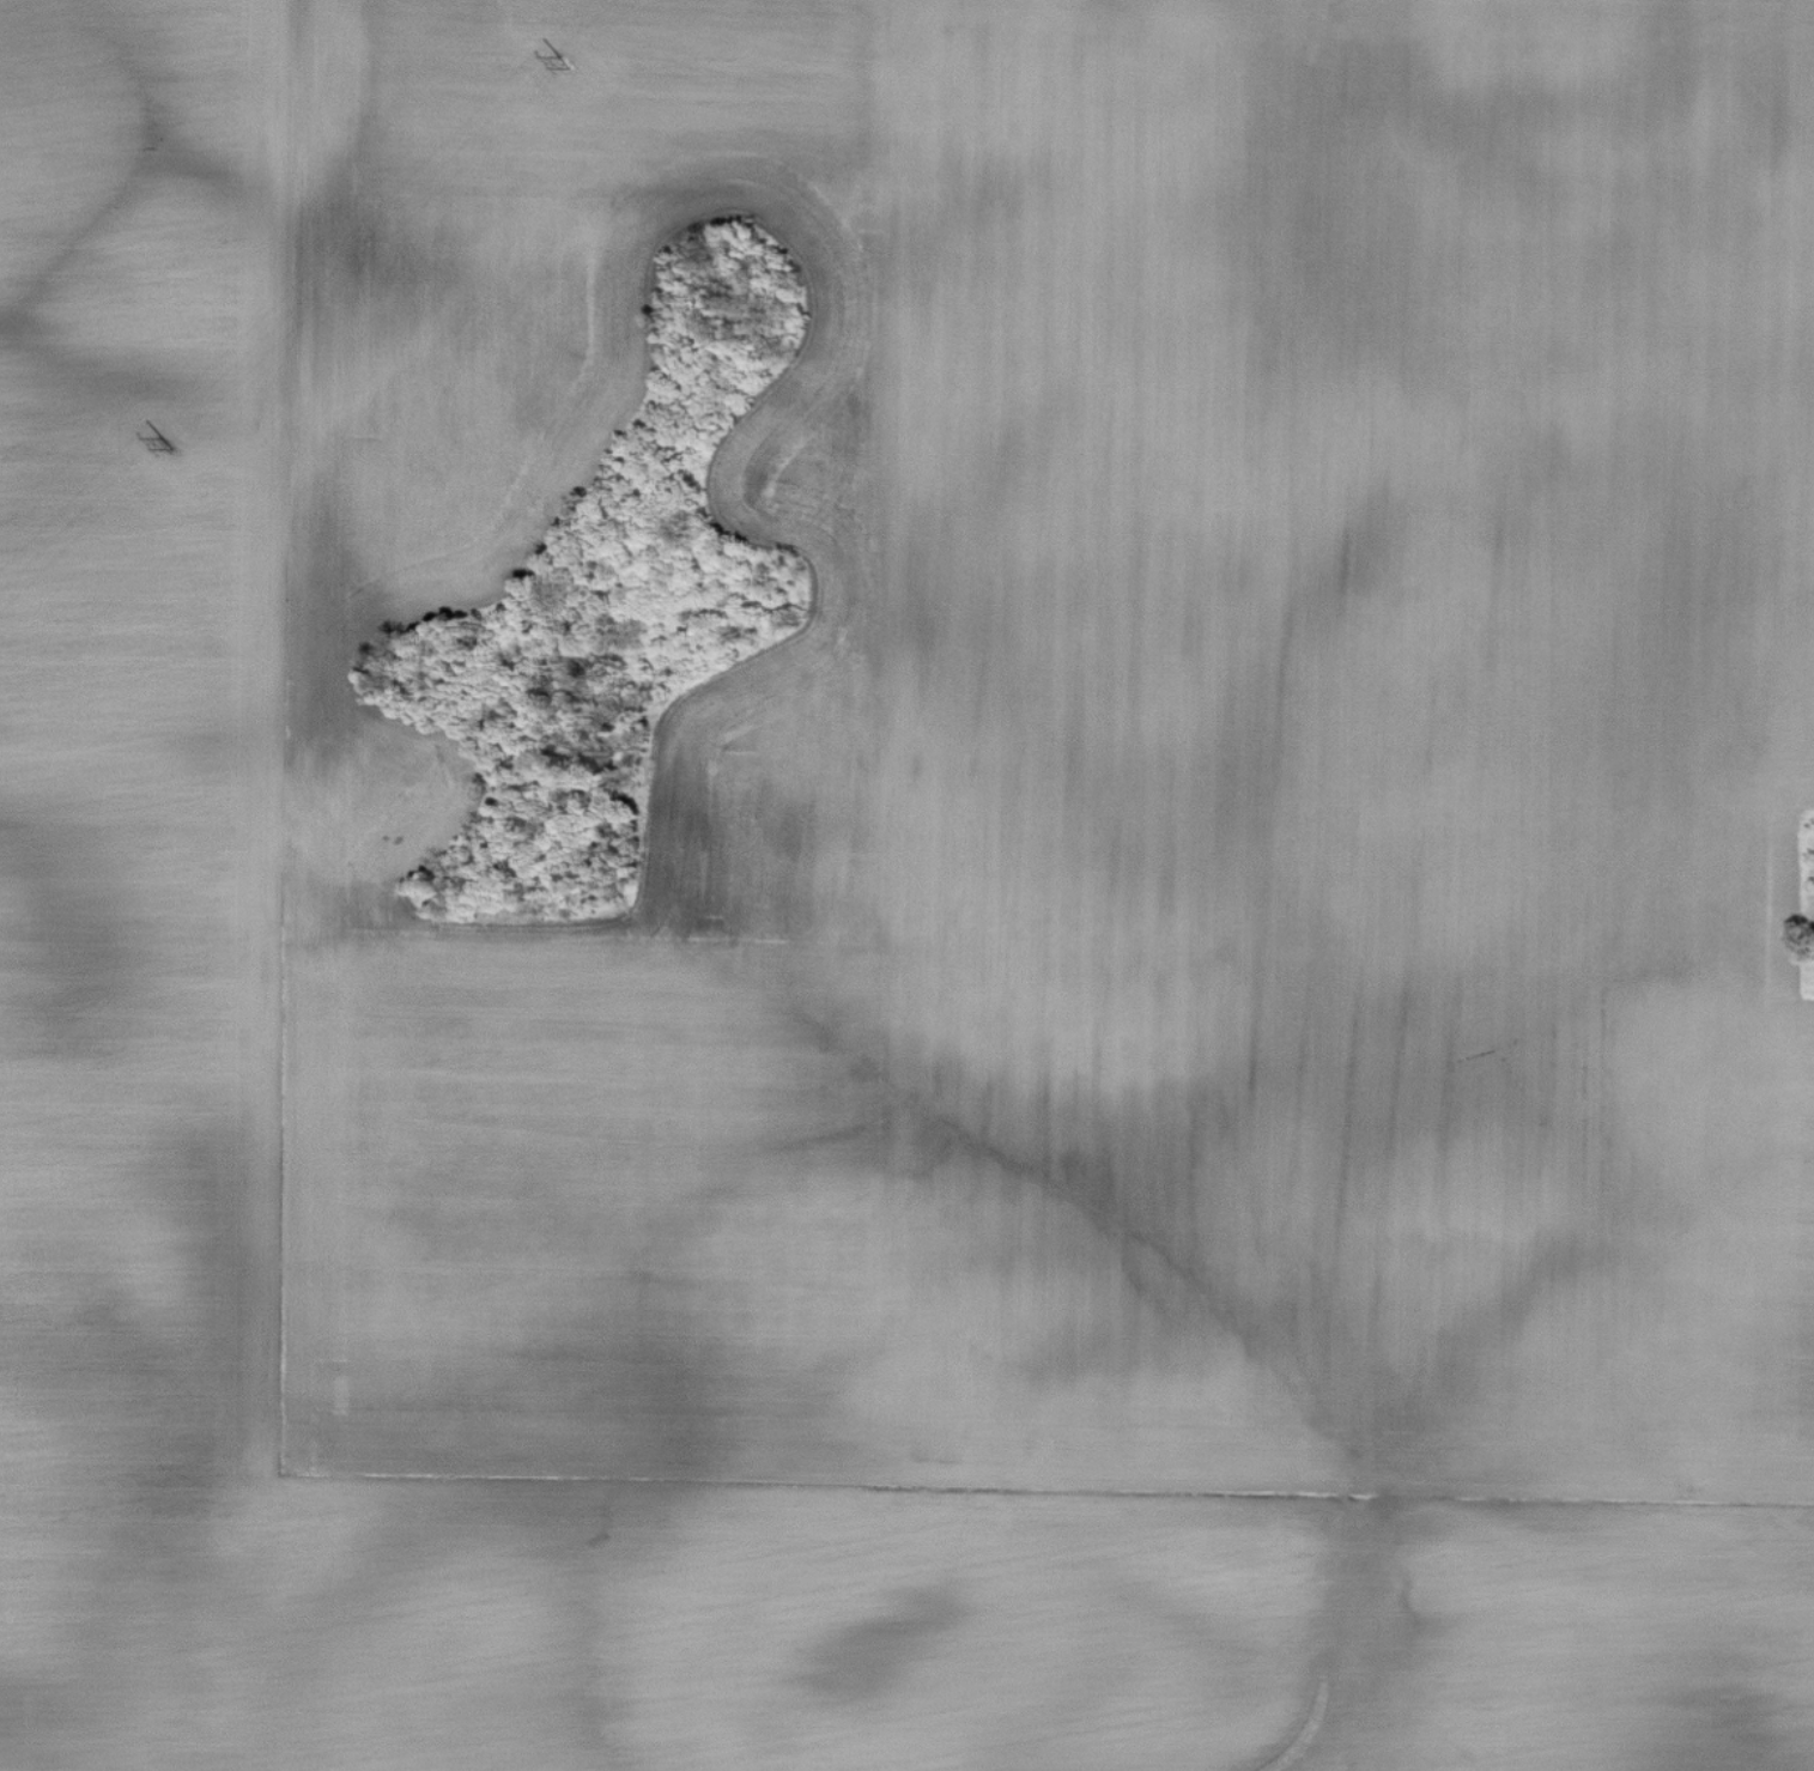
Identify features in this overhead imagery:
power tower: (568, 61)
power tower: (166, 443)

